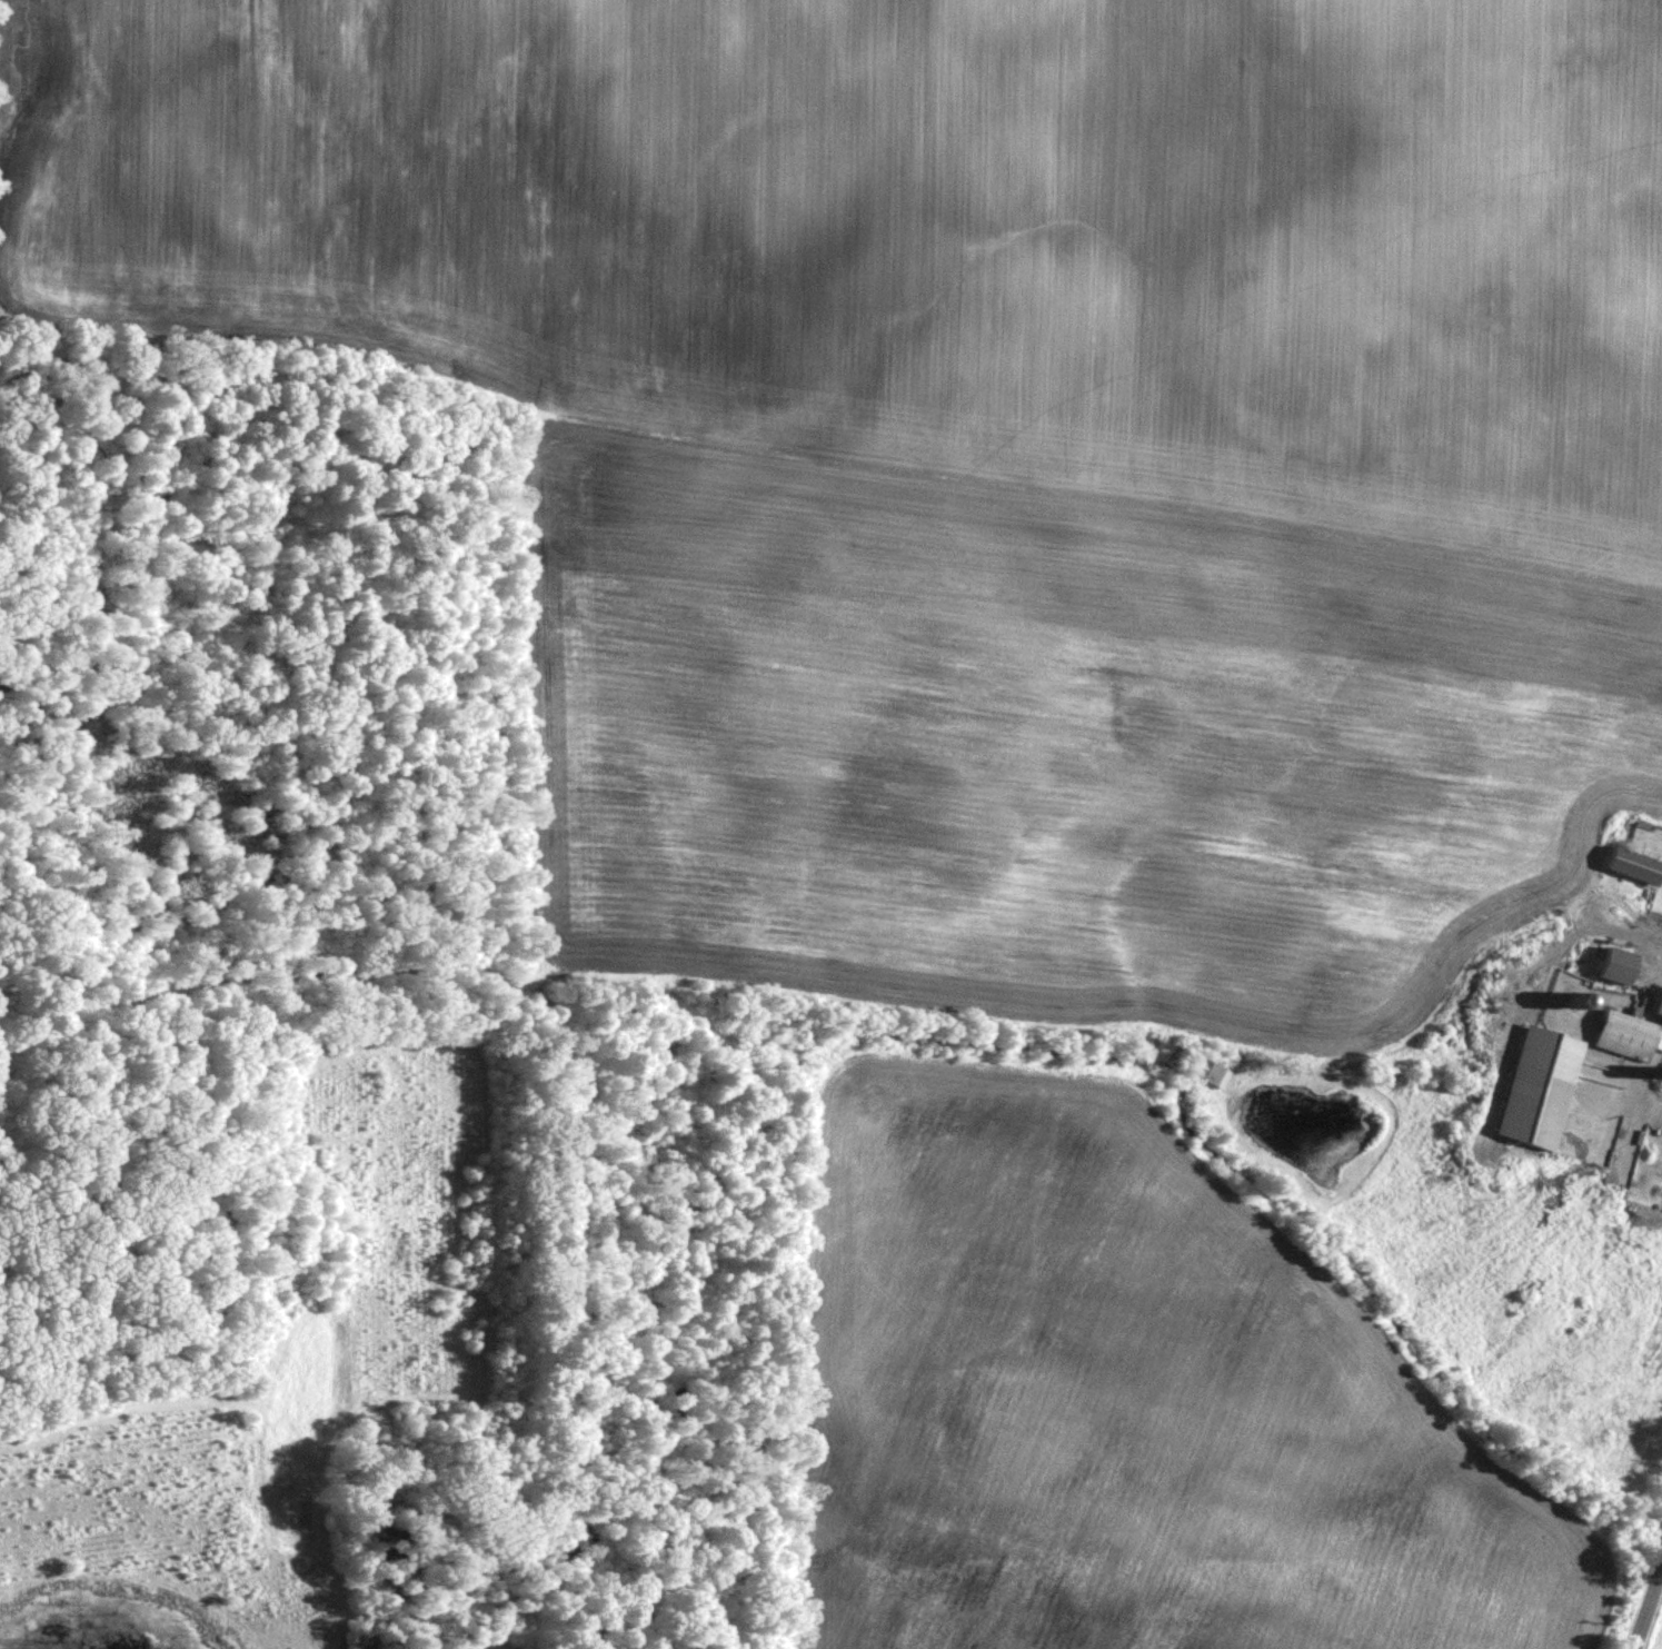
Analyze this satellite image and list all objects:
building: (1633, 863)
building: (1616, 962)
building: (1631, 1027)
building: (1215, 1073)
building: (1535, 1083)
road: (1648, 1606)

